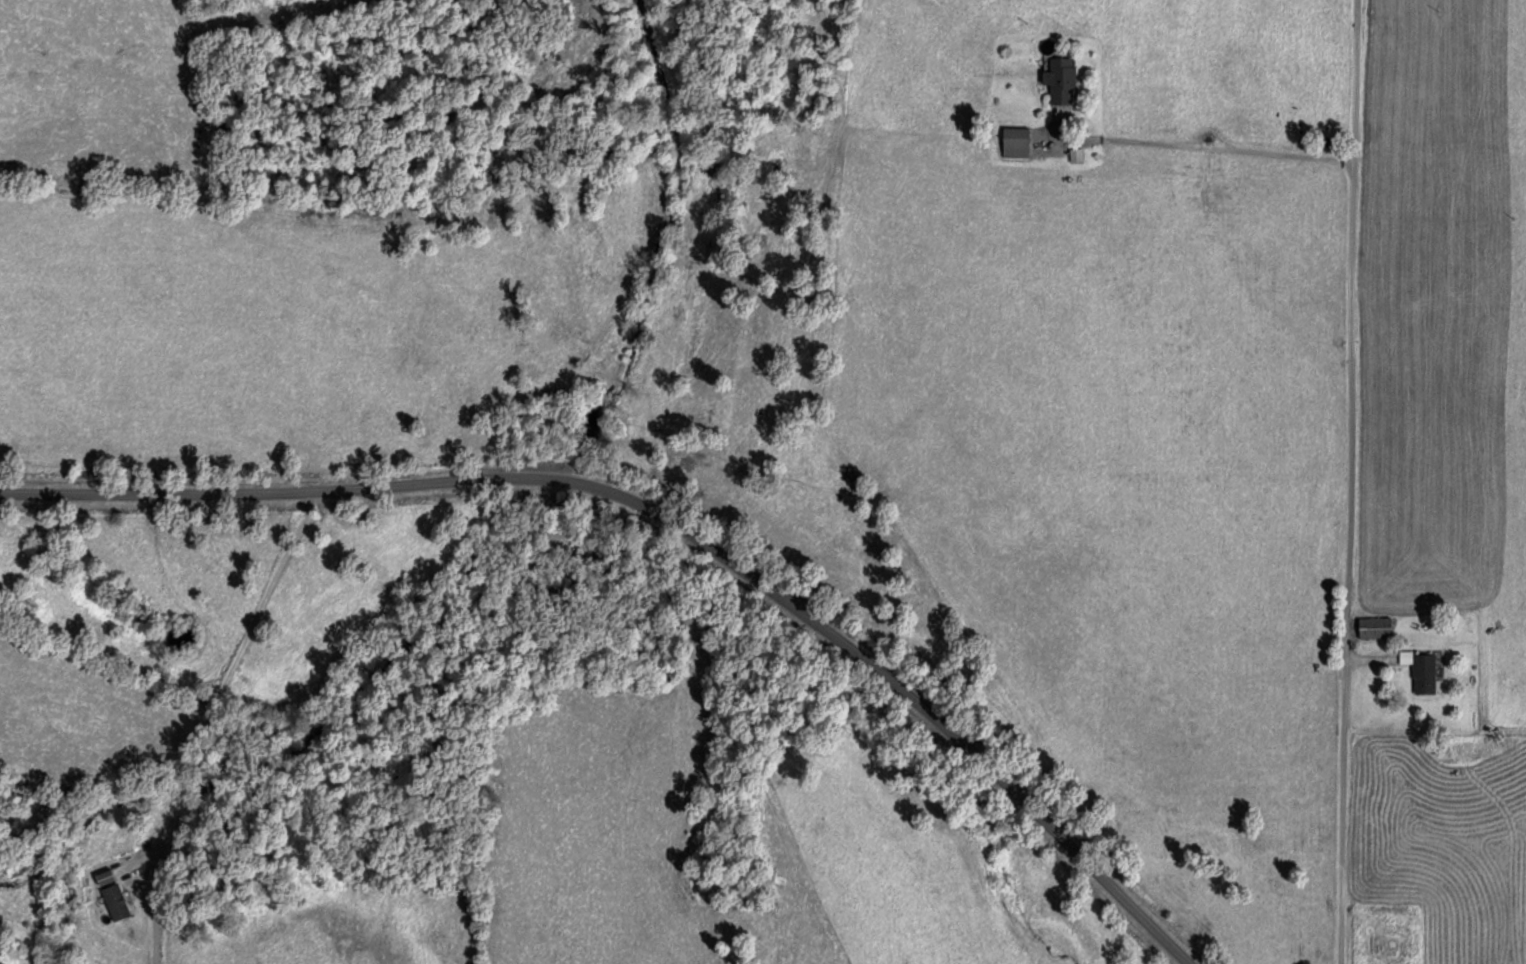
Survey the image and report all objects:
building: (1057, 80)
building: (1012, 142)
road: (1204, 144)
road: (1360, 481)
road: (673, 524)
building: (1372, 628)
building: (1421, 673)
road: (206, 720)
building: (100, 878)
building: (112, 902)

